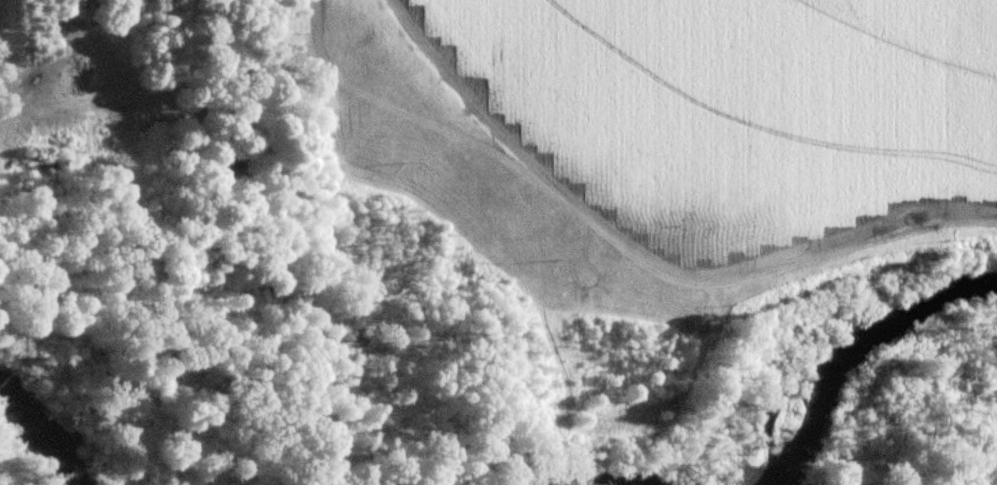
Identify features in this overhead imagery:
road: (301, 25)
river: (863, 356)
river: (47, 431)

